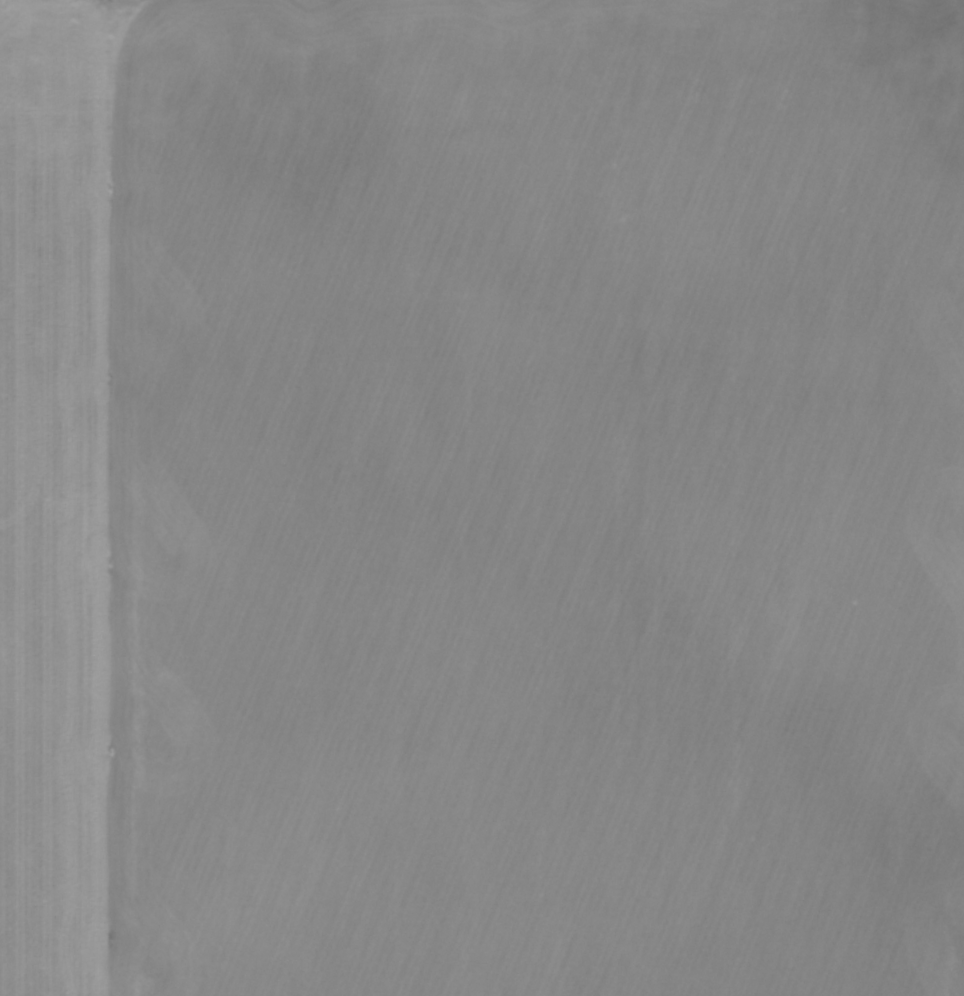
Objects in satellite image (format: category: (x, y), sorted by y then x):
crop: (482, 498)

